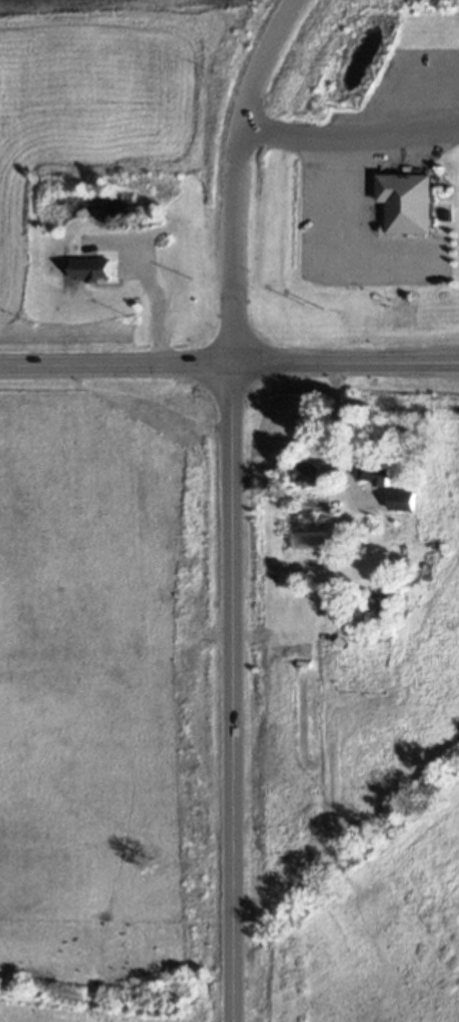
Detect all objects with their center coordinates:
road: (350, 153)
road: (236, 175)
building: (412, 203)
building: (451, 217)
building: (94, 267)
road: (162, 308)
road: (229, 364)
road: (339, 435)
building: (379, 468)
building: (316, 473)
building: (406, 499)
building: (313, 538)
building: (372, 545)
building: (443, 552)
building: (393, 564)
building: (425, 574)
building: (401, 592)
building: (314, 593)
building: (344, 640)
building: (306, 663)
road: (236, 693)

